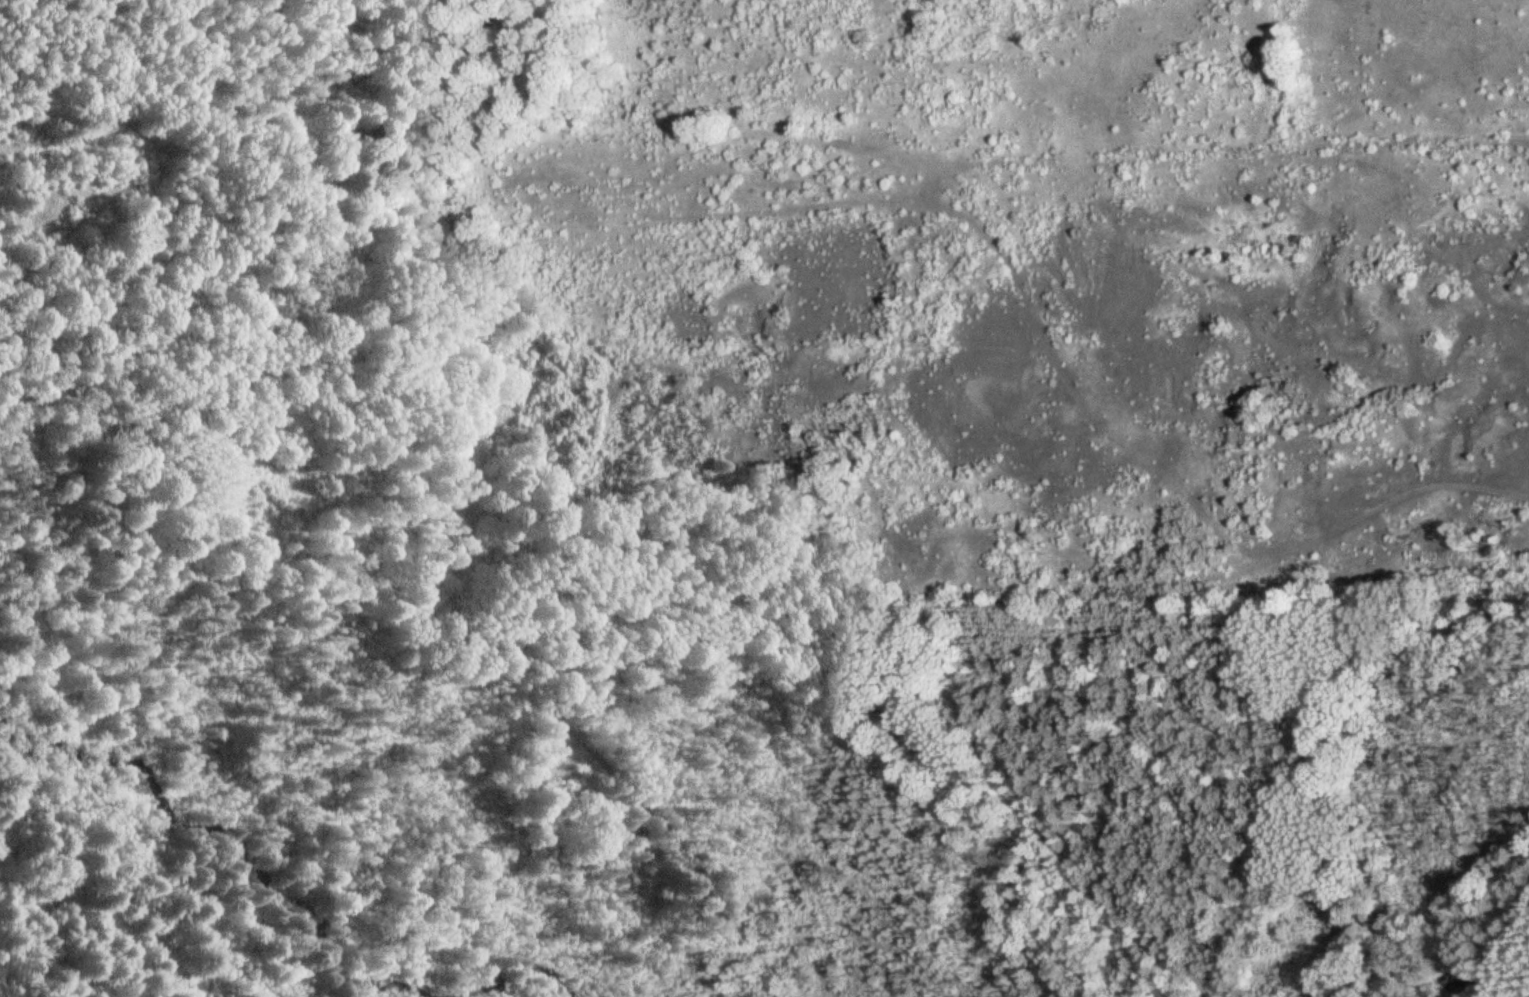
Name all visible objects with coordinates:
road: (1298, 553)

